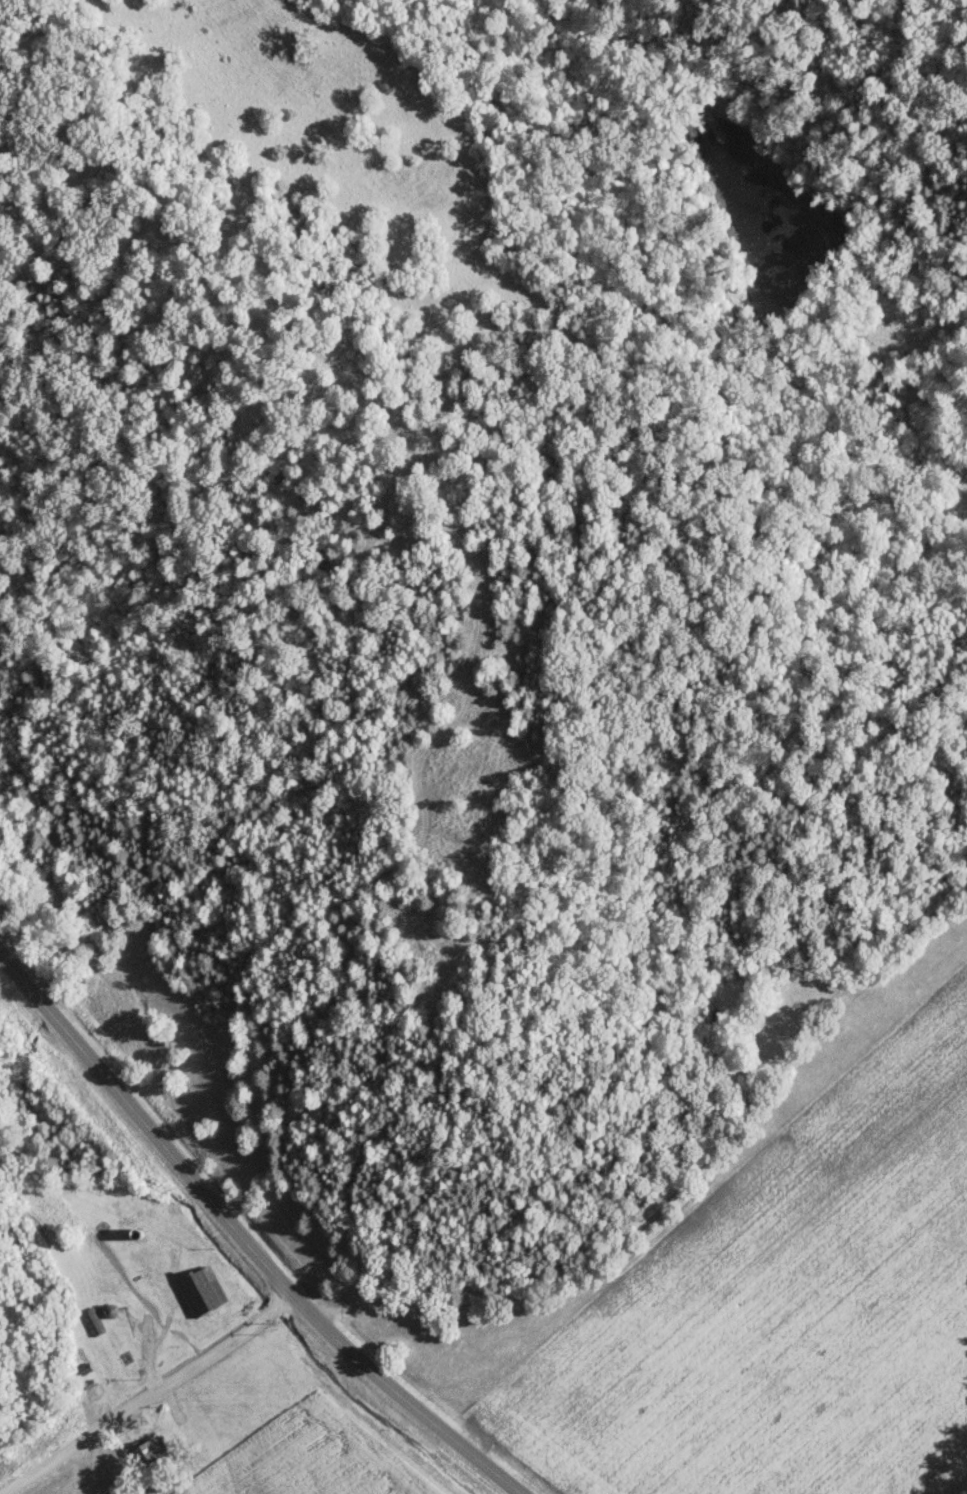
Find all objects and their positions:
road: (244, 1240)
building: (202, 1291)
building: (91, 1321)
road: (148, 1393)
building: (150, 1451)

